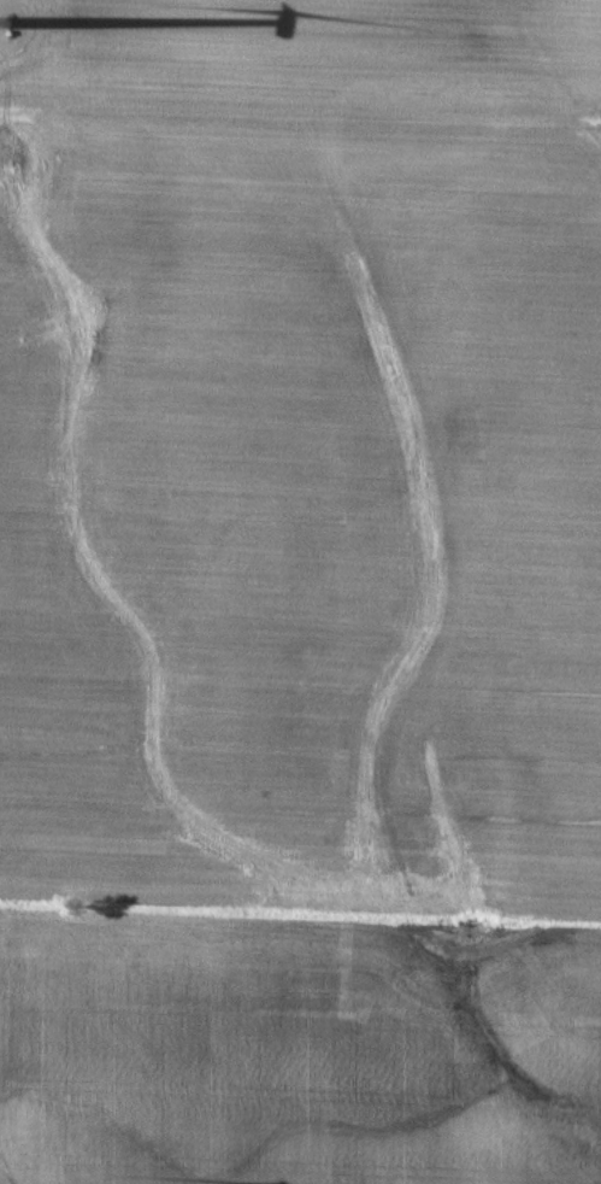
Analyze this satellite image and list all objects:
wind turbine: (5, 24)

